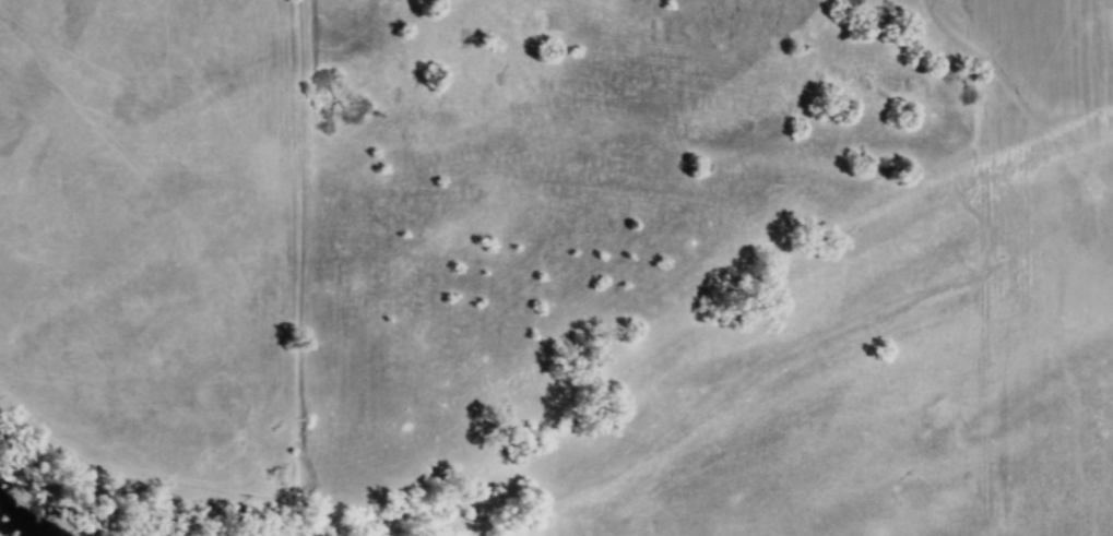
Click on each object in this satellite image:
river: (20, 522)

